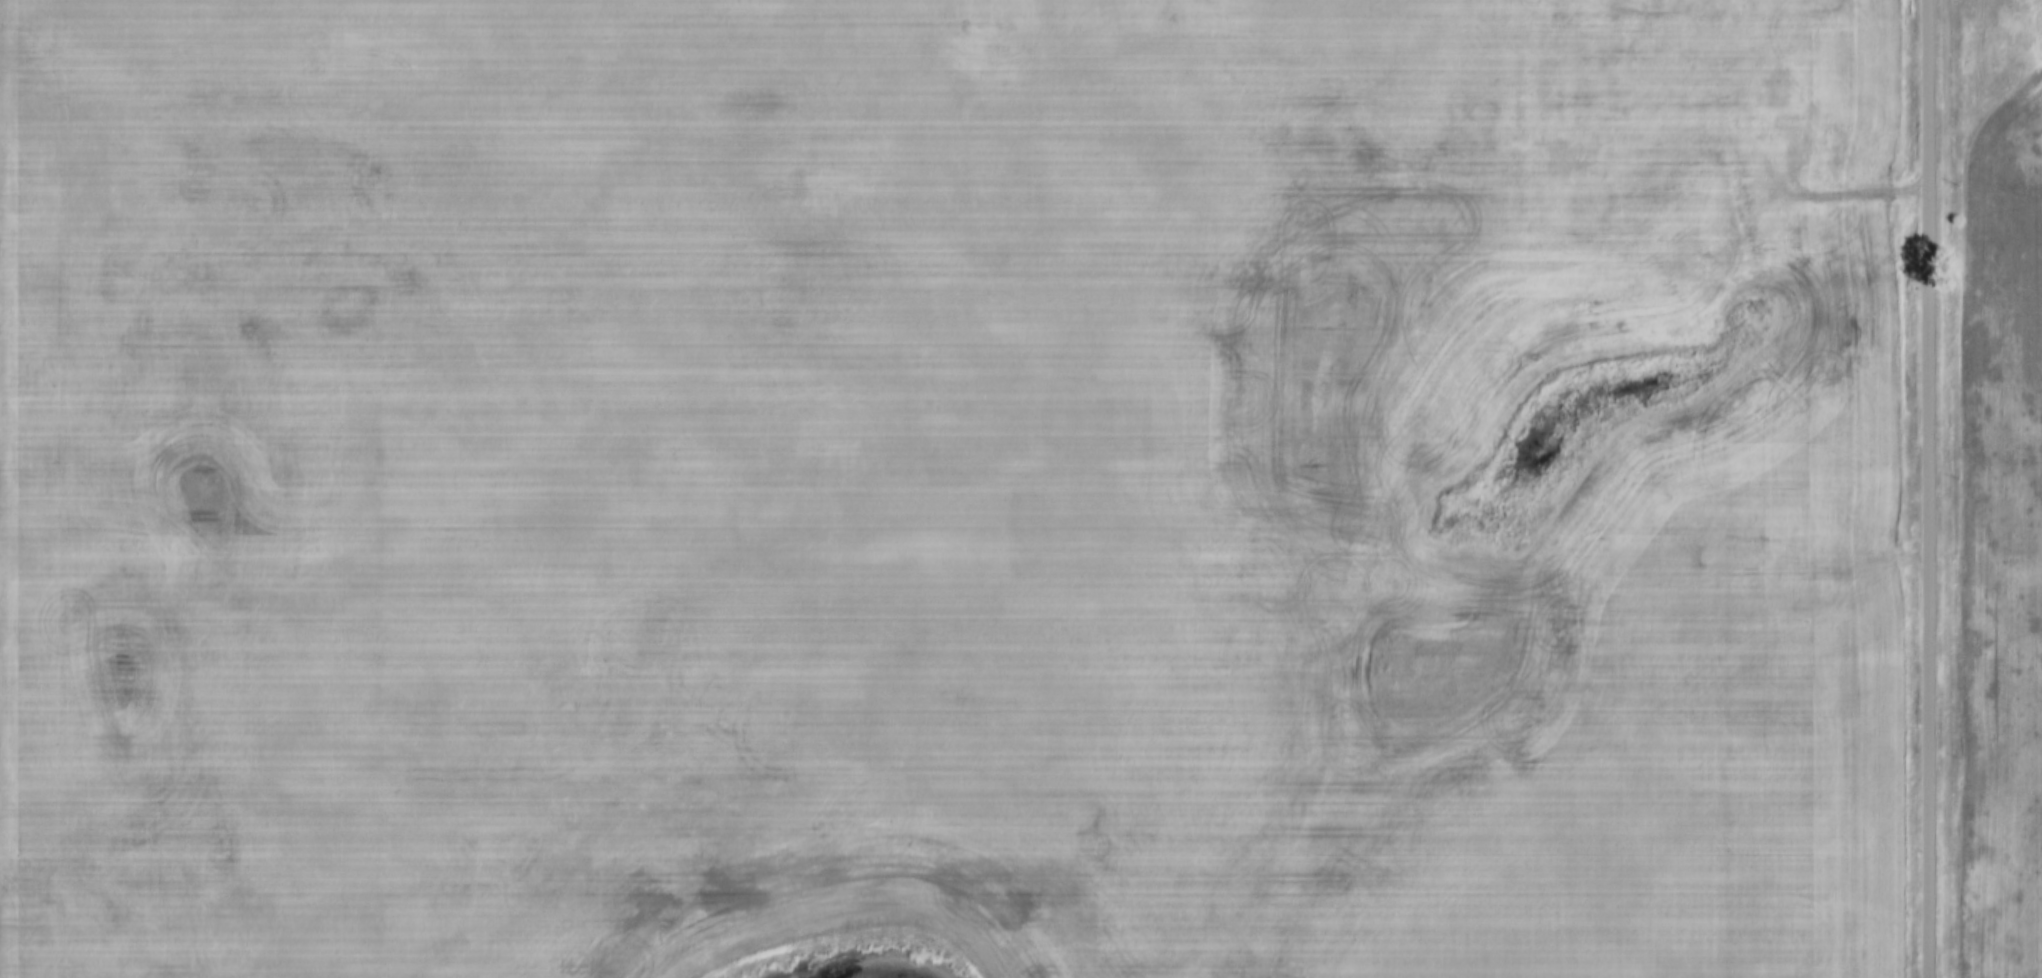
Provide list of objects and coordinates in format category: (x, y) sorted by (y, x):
road: (1827, 196)
road: (1929, 489)

